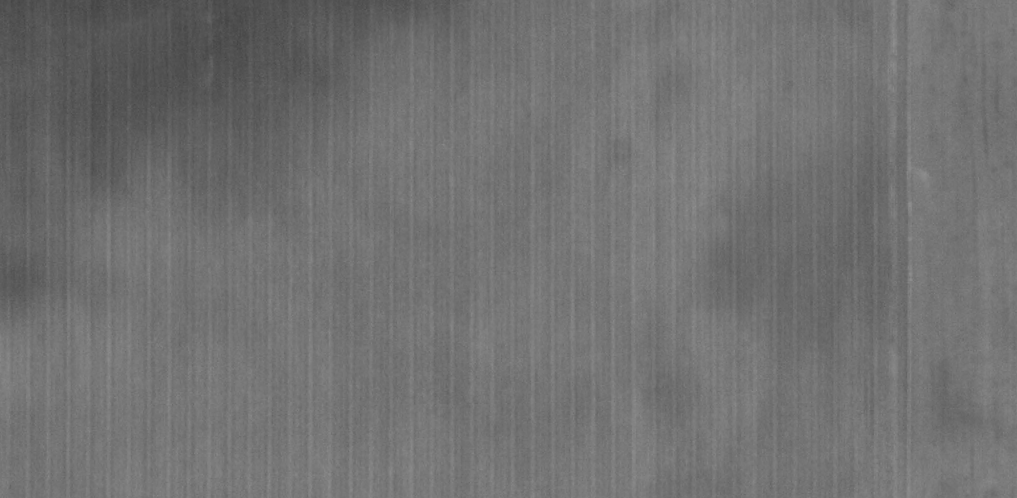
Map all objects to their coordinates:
crop: (508, 249)

